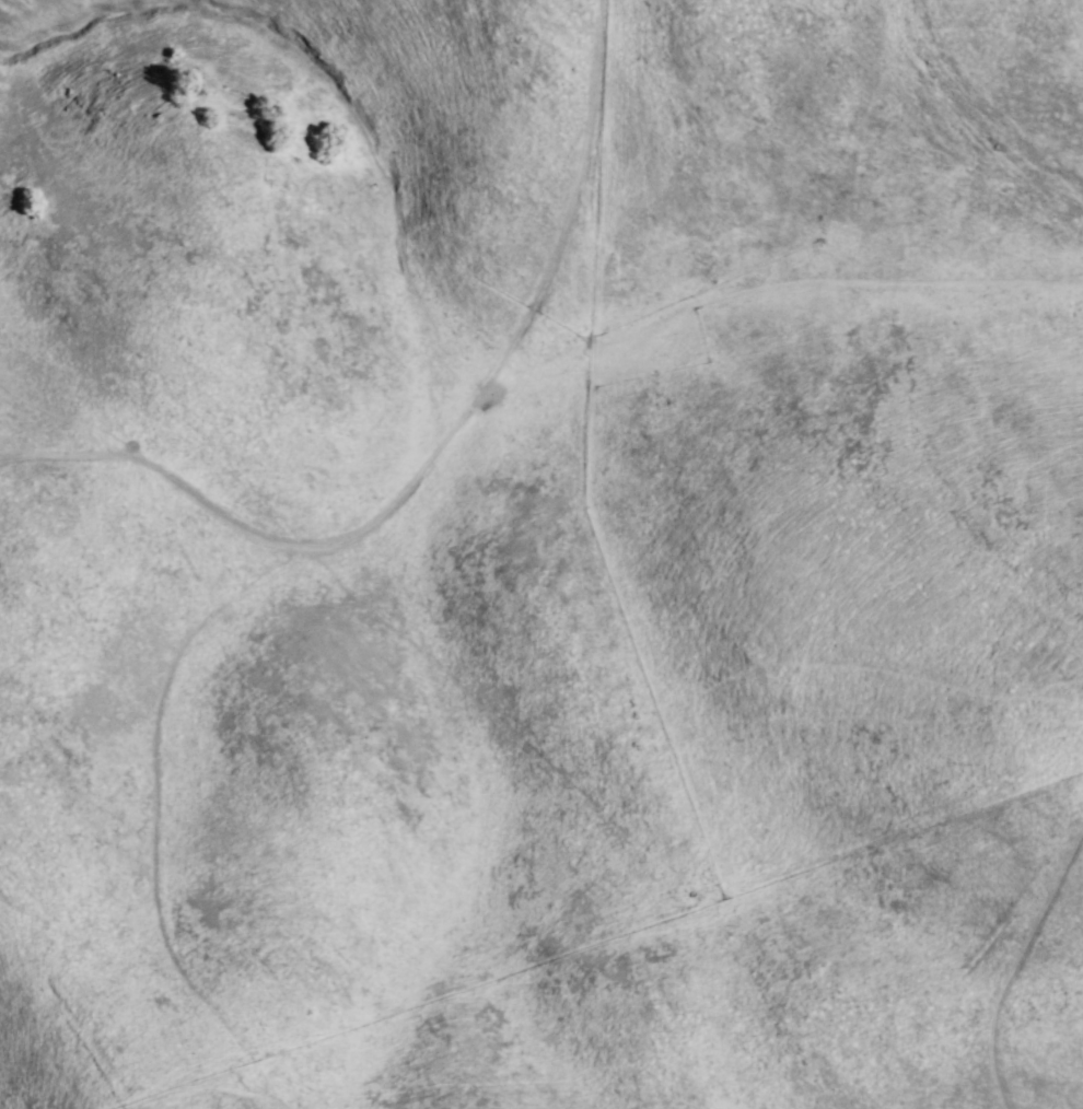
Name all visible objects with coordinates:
road: (423, 456)
road: (142, 836)

